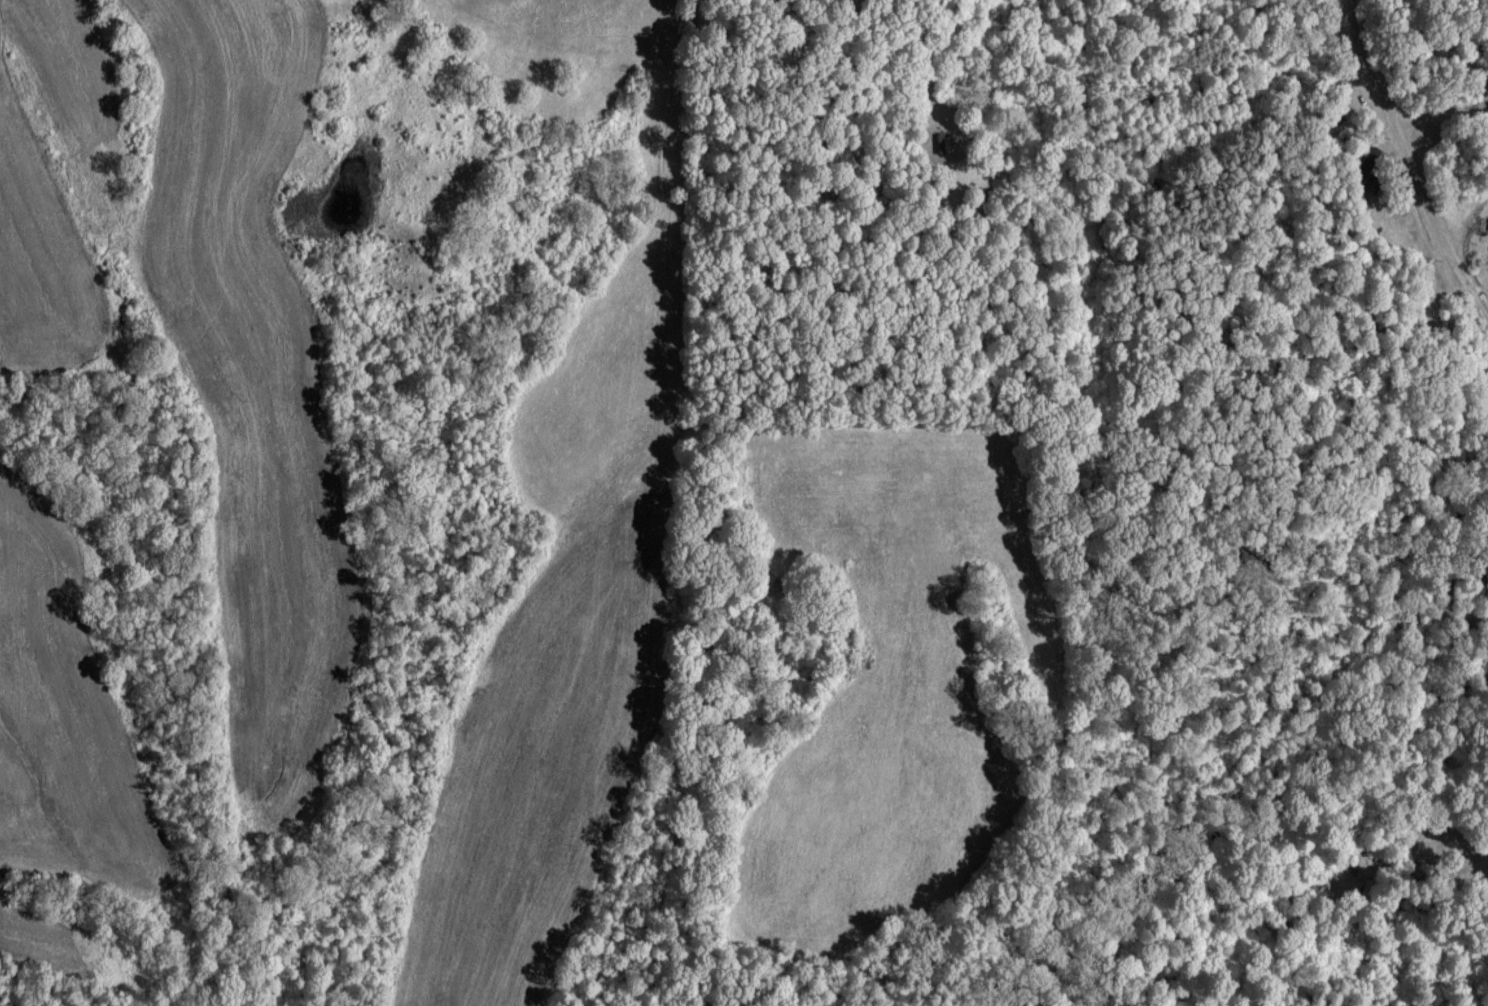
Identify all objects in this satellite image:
road: (1441, 110)
road: (1414, 163)

